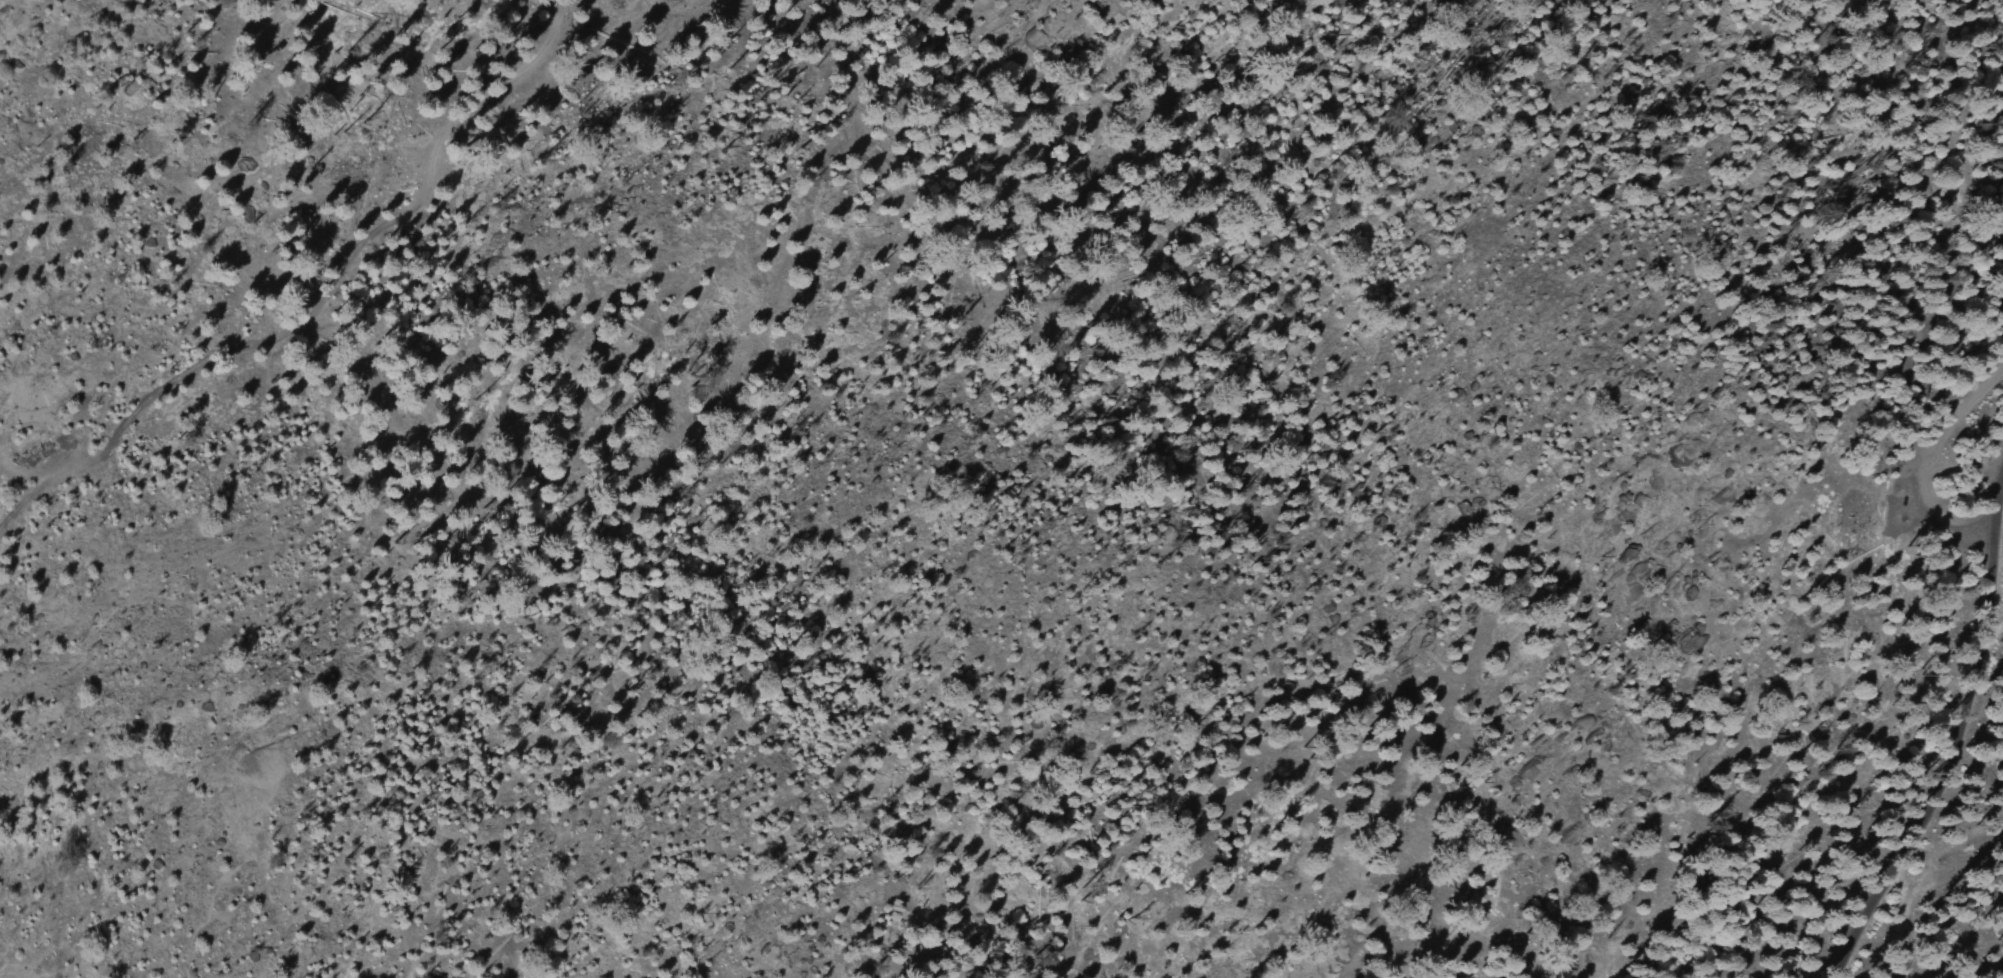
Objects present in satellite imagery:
road: (325, 307)
road: (1961, 741)

